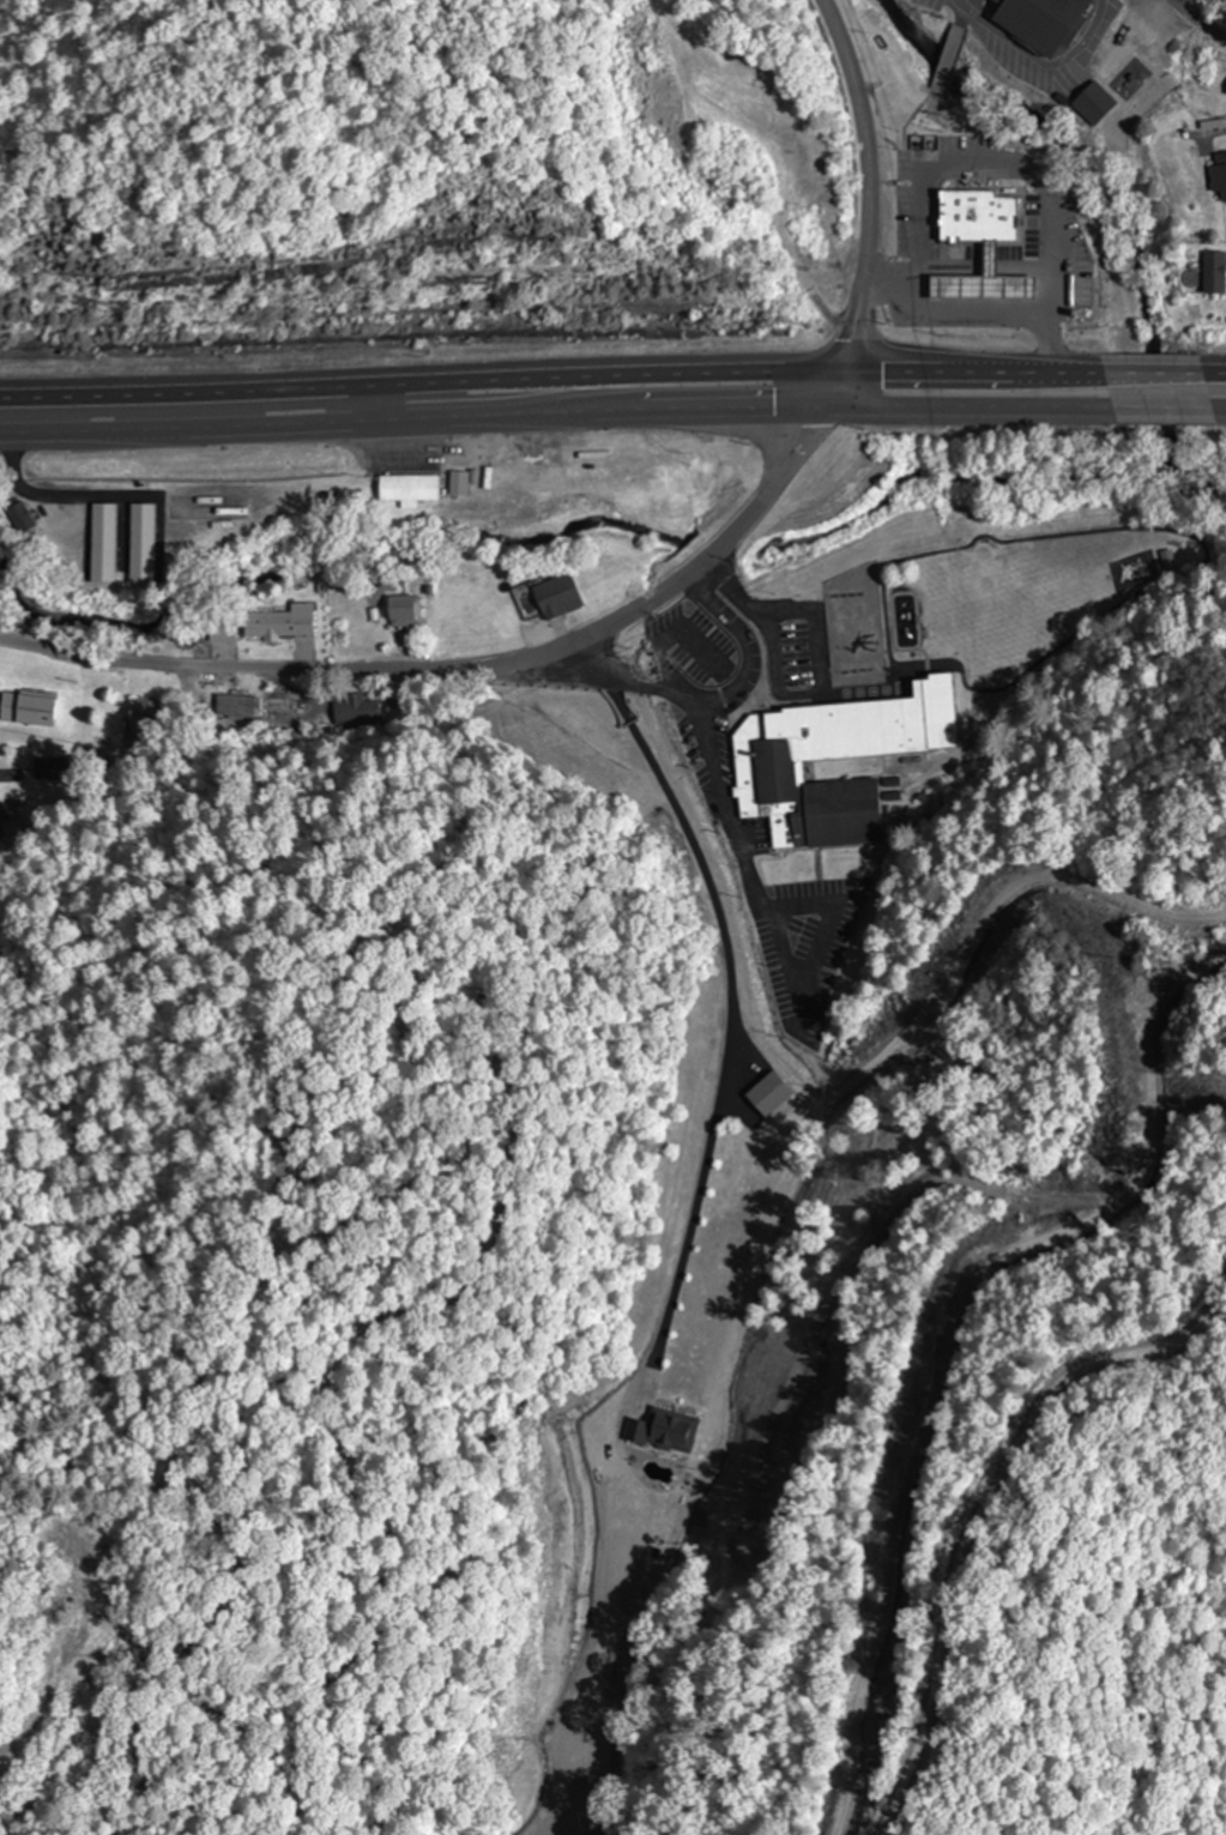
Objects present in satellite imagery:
road: (956, 13)
road: (1195, 20)
building: (1038, 22)
building: (1141, 36)
road: (944, 61)
park: (745, 64)
building: (1089, 108)
building: (1216, 175)
road: (865, 185)
building: (976, 218)
building: (1212, 271)
building: (983, 279)
gas station: (983, 279)
road: (970, 373)
road: (1149, 373)
road: (1212, 373)
traffic signals: (840, 374)
road: (419, 386)
road: (832, 394)
traffic signals: (823, 415)
road: (964, 415)
road: (1155, 416)
road: (1216, 417)
road: (725, 419)
road: (313, 436)
building: (407, 489)
building: (18, 519)
building: (102, 543)
building: (141, 543)
building: (555, 598)
building: (401, 616)
building: (278, 626)
building: (221, 632)
road: (459, 670)
road: (709, 706)
building: (231, 708)
building: (26, 711)
building: (140, 717)
building: (349, 719)
building: (49, 769)
building: (762, 773)
road: (724, 1026)
road: (841, 1098)
building: (766, 1099)
road: (947, 1333)
road: (724, 1412)
building: (674, 1425)
building: (635, 1433)
road: (984, 1508)

